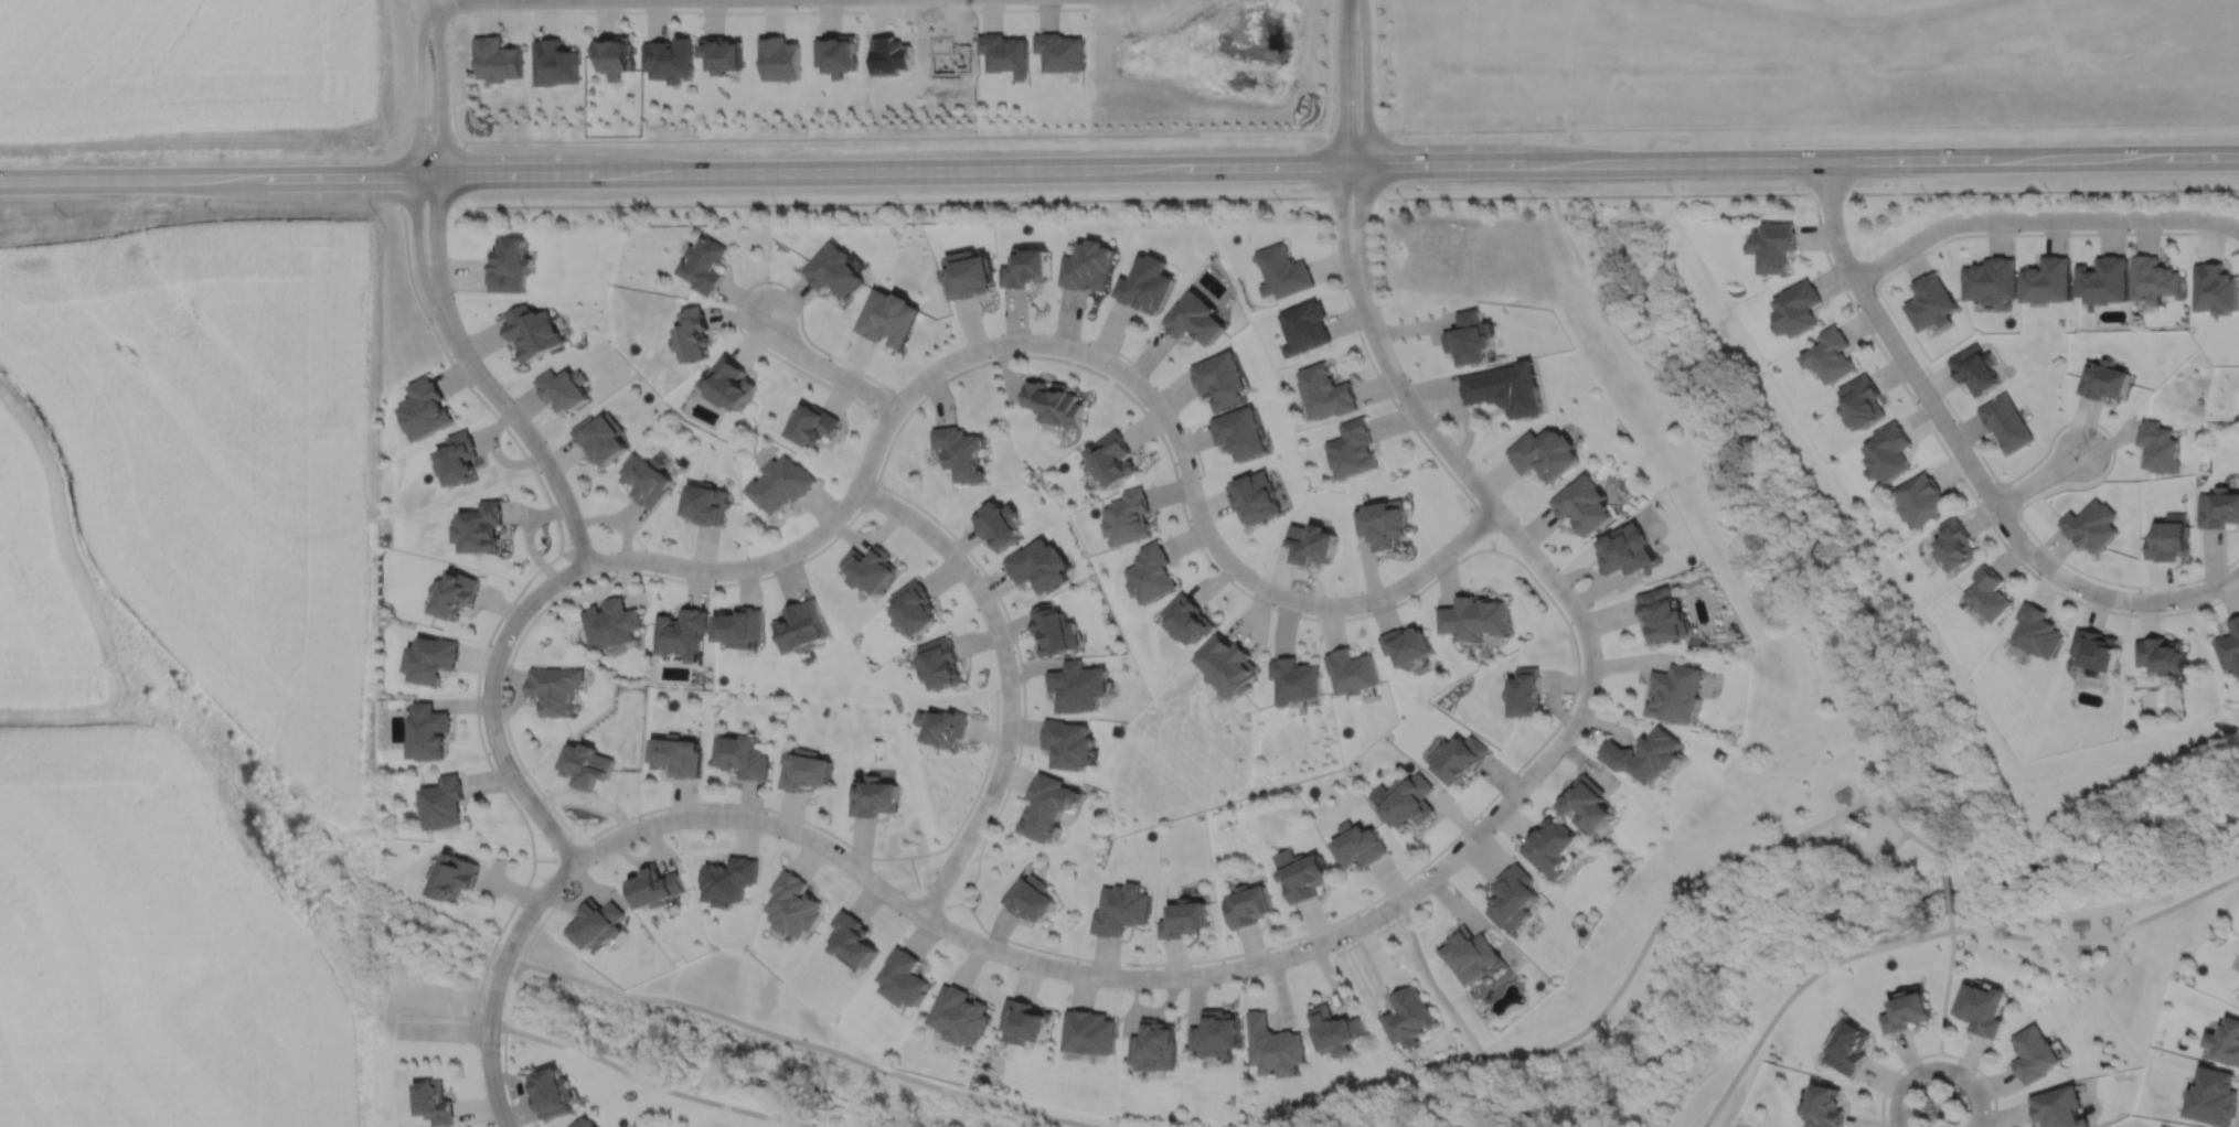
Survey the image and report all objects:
road: (444, 8)
road: (419, 9)
building: (1060, 51)
building: (836, 52)
building: (723, 53)
building: (1004, 53)
building: (616, 54)
building: (498, 57)
building: (670, 57)
building: (779, 57)
building: (554, 63)
road: (1377, 65)
crop: (183, 66)
road: (1364, 82)
road: (419, 96)
street lamp: (448, 101)
road: (1166, 133)
road: (1343, 153)
road: (437, 161)
road: (1801, 162)
road: (681, 173)
road: (923, 201)
road: (2039, 218)
street lamp: (1373, 221)
street lamp: (1822, 221)
street lamp: (1925, 222)
street lamp: (447, 228)
street lamp: (2129, 229)
street lamp: (2016, 230)
road: (1362, 233)
building: (1773, 247)
road: (417, 254)
building: (704, 265)
building: (511, 266)
building: (1089, 266)
building: (1027, 269)
building: (833, 270)
building: (1283, 272)
building: (969, 276)
building: (2154, 279)
building: (2104, 280)
building: (1990, 281)
building: (2047, 281)
street lamp: (769, 283)
street lamp: (1342, 283)
building: (1145, 285)
building: (2216, 289)
building: (1931, 303)
road: (735, 304)
street lamp: (1859, 308)
building: (1796, 309)
building: (887, 318)
street lamp: (431, 319)
building: (1195, 320)
building: (1305, 328)
building: (531, 332)
street lamp: (1000, 332)
building: (692, 335)
building: (1472, 339)
street lamp: (1089, 342)
road: (1071, 347)
building: (1831, 356)
street lamp: (831, 358)
road: (824, 367)
building: (1975, 369)
street lamp: (905, 380)
building: (1222, 380)
building: (2103, 380)
street lamp: (1411, 382)
street lamp: (501, 384)
building: (731, 385)
street lamp: (1156, 387)
building: (563, 390)
building: (1507, 390)
building: (1325, 393)
road: (1389, 397)
street lamp: (1918, 401)
building: (1055, 404)
building: (1863, 404)
building: (427, 410)
road: (1419, 412)
road: (1942, 419)
building: (2005, 423)
building: (813, 426)
building: (1241, 434)
street lamp: (2105, 436)
road: (530, 438)
building: (600, 439)
building: (2158, 448)
building: (1353, 450)
road: (1979, 452)
building: (1889, 453)
building: (960, 454)
building: (1546, 454)
building: (461, 461)
building: (1112, 461)
street lamp: (537, 471)
street lamp: (1201, 475)
road: (2038, 479)
building: (647, 483)
road: (1964, 483)
building: (780, 485)
street lamp: (1463, 485)
street lamp: (1977, 497)
building: (1256, 498)
building: (1922, 501)
building: (705, 505)
building: (1585, 506)
building: (2218, 509)
street lamp: (850, 516)
building: (1128, 519)
street lamp: (937, 525)
building: (1384, 525)
building: (1000, 527)
building: (2091, 527)
building: (482, 529)
building: (1954, 541)
building: (2167, 543)
building: (1313, 546)
street lamp: (644, 548)
building: (1628, 551)
building: (868, 566)
building: (1039, 568)
street lamp: (1558, 568)
street lamp: (758, 575)
building: (1151, 576)
street lamp: (2040, 576)
road: (687, 581)
street lamp: (1415, 590)
building: (1989, 591)
road: (2194, 593)
building: (458, 595)
street lamp: (1271, 603)
building: (914, 604)
street lamp: (2130, 610)
street lamp: (534, 612)
building: (1474, 615)
building: (1184, 616)
building: (1665, 618)
street lamp: (1004, 620)
building: (612, 621)
building: (739, 624)
building: (801, 624)
building: (1054, 627)
building: (681, 630)
building: (2037, 630)
building: (1408, 644)
building: (2229, 644)
building: (2096, 646)
building: (2161, 652)
street lamp: (1602, 655)
building: (429, 656)
building: (940, 661)
building: (1226, 664)
building: (1352, 669)
building: (1294, 678)
road: (1007, 679)
building: (1076, 684)
building: (555, 687)
building: (1525, 690)
building: (1676, 691)
street lamp: (479, 694)
road: (1847, 697)
road: (489, 705)
building: (574, 706)
building: (942, 724)
building: (426, 730)
street lamp: (1578, 740)
building: (1066, 742)
building: (1645, 753)
building: (674, 754)
building: (742, 755)
street lamp: (1014, 756)
building: (1458, 756)
building: (584, 763)
building: (803, 769)
street lamp: (522, 773)
road: (1506, 781)
road: (978, 787)
building: (873, 795)
building: (1408, 799)
building: (441, 801)
road: (714, 802)
building: (1588, 802)
building: (1045, 805)
street lamp: (764, 809)
street lamp: (639, 816)
street lamp: (1494, 830)
road: (1906, 830)
building: (1357, 844)
building: (1552, 846)
road: (1863, 852)
street lamp: (963, 866)
building: (451, 876)
building: (1302, 877)
building: (727, 879)
street lamp: (856, 883)
building: (653, 885)
road: (1945, 894)
building: (1030, 898)
building: (1513, 898)
building: (793, 904)
building: (1246, 905)
building: (1118, 908)
street lamp: (539, 917)
building: (1182, 919)
street lamp: (1386, 921)
building: (595, 923)
road: (533, 933)
road: (1934, 934)
building: (853, 938)
street lamp: (966, 949)
building: (1469, 954)
street lamp: (1297, 964)
road: (482, 970)
road: (1218, 970)
building: (904, 977)
road: (495, 981)
street lamp: (1067, 981)
road: (1947, 984)
street lamp: (1186, 987)
road: (620, 992)
building: (1979, 1009)
building: (1907, 1011)
building: (960, 1016)
building: (1409, 1017)
road: (490, 1021)
building: (1026, 1022)
road: (441, 1030)
building: (1334, 1031)
building: (1090, 1032)
building: (1216, 1033)
street lamp: (375, 1039)
building: (2225, 1042)
building: (1153, 1045)
building: (1275, 1046)
building: (1848, 1049)
street lamp: (500, 1051)
road: (1938, 1052)
building: (2032, 1055)
road: (1462, 1065)
road: (1938, 1070)
street lamp: (1974, 1071)
road: (504, 1077)
building: (550, 1094)
building: (2211, 1097)
building: (431, 1104)
building: (1823, 1107)
building: (2056, 1108)
building: (582, 1124)

